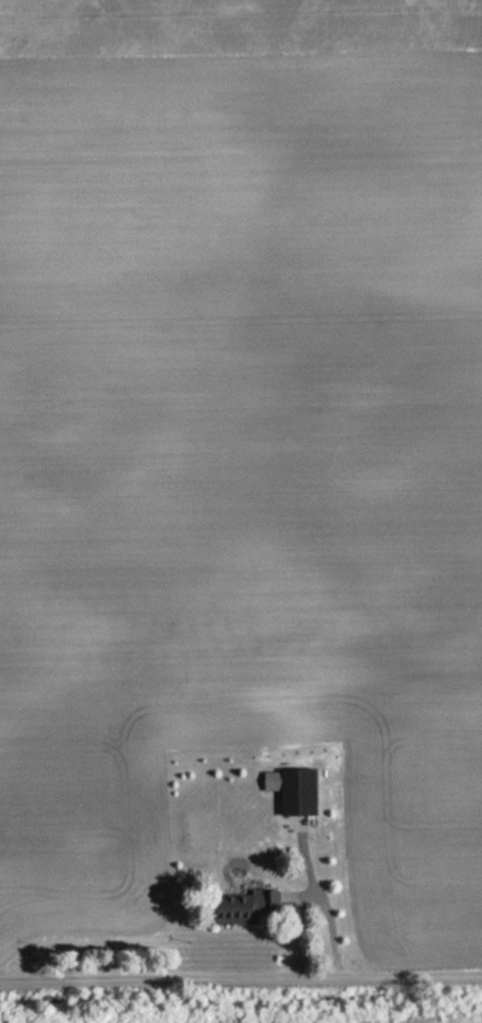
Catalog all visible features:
building: (293, 790)
building: (243, 907)
road: (241, 982)

